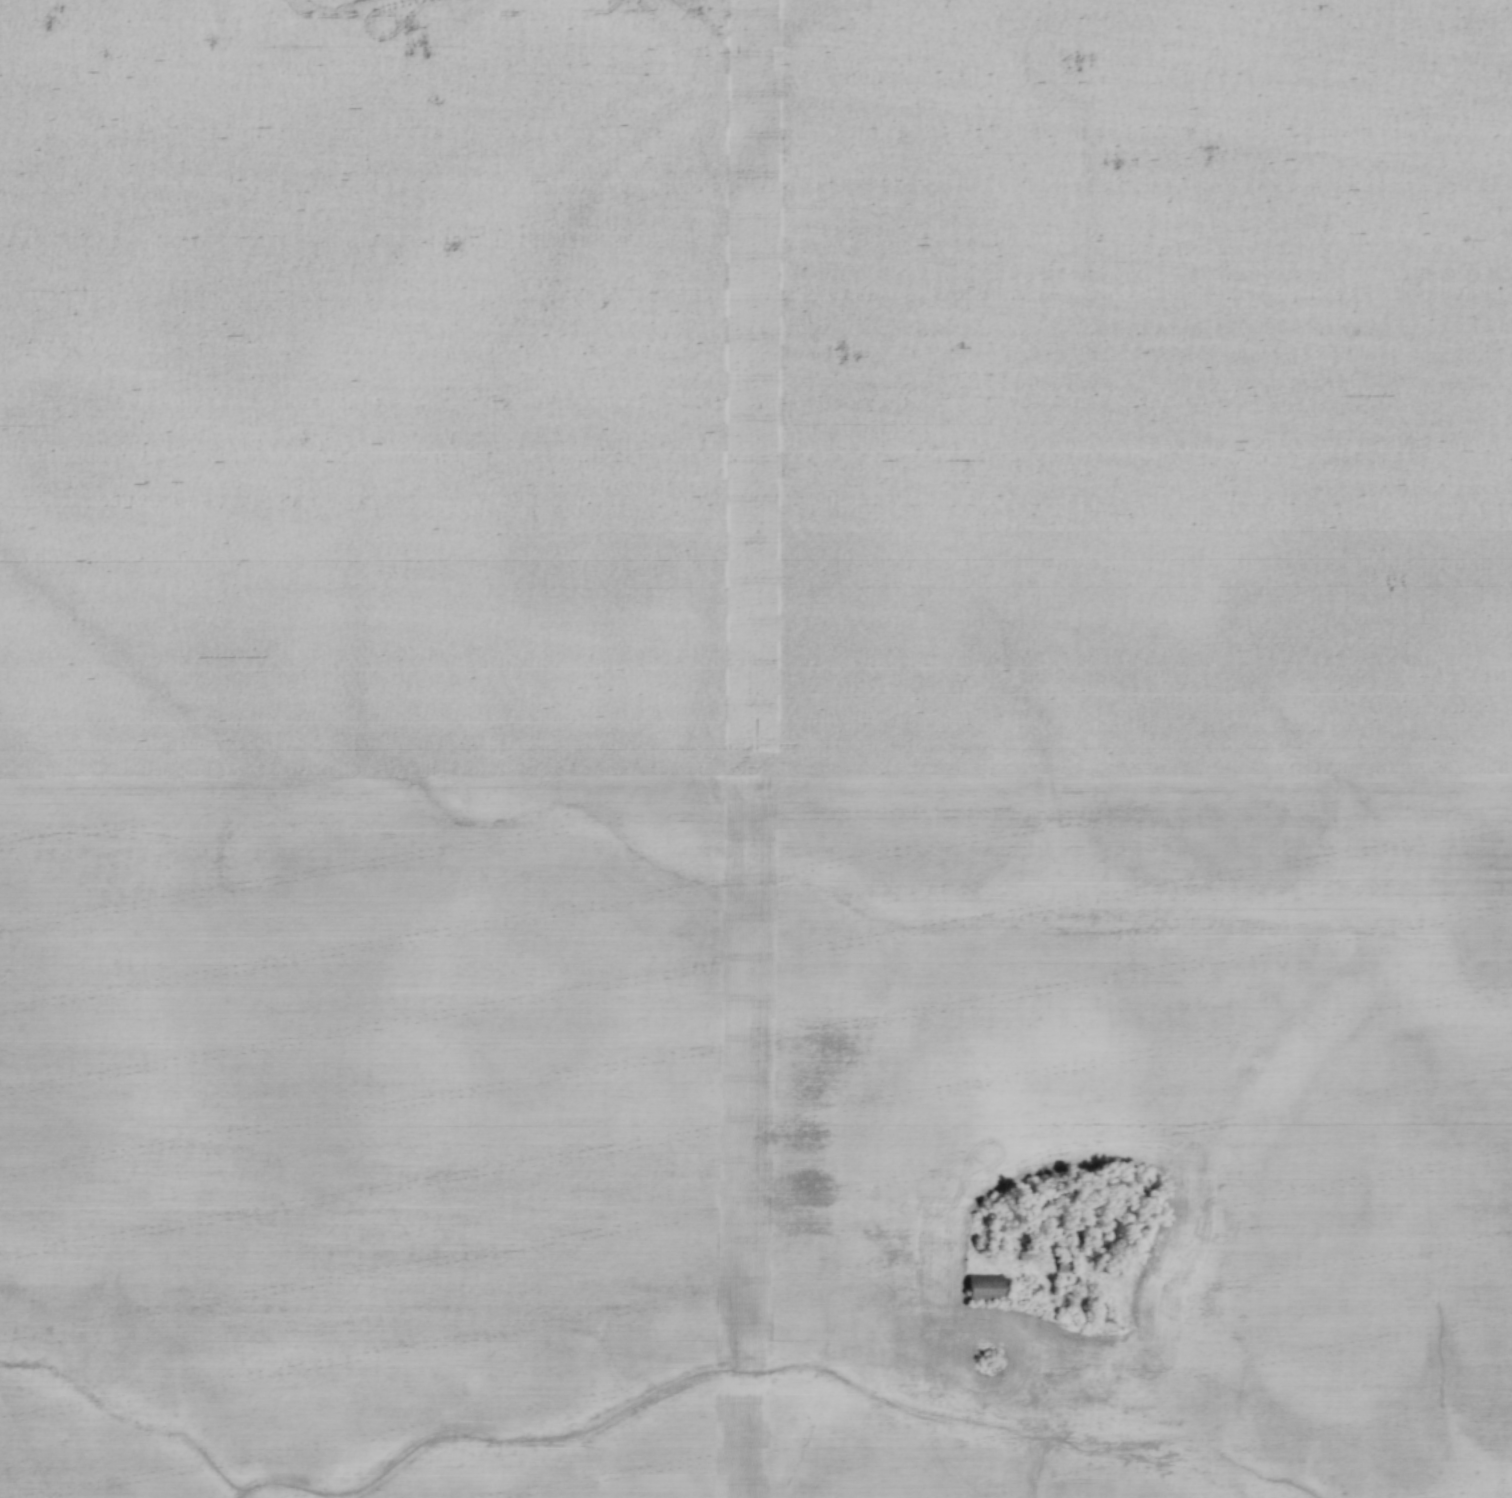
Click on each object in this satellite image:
building: (1066, 1269)
building: (986, 1285)
road: (1036, 1411)

